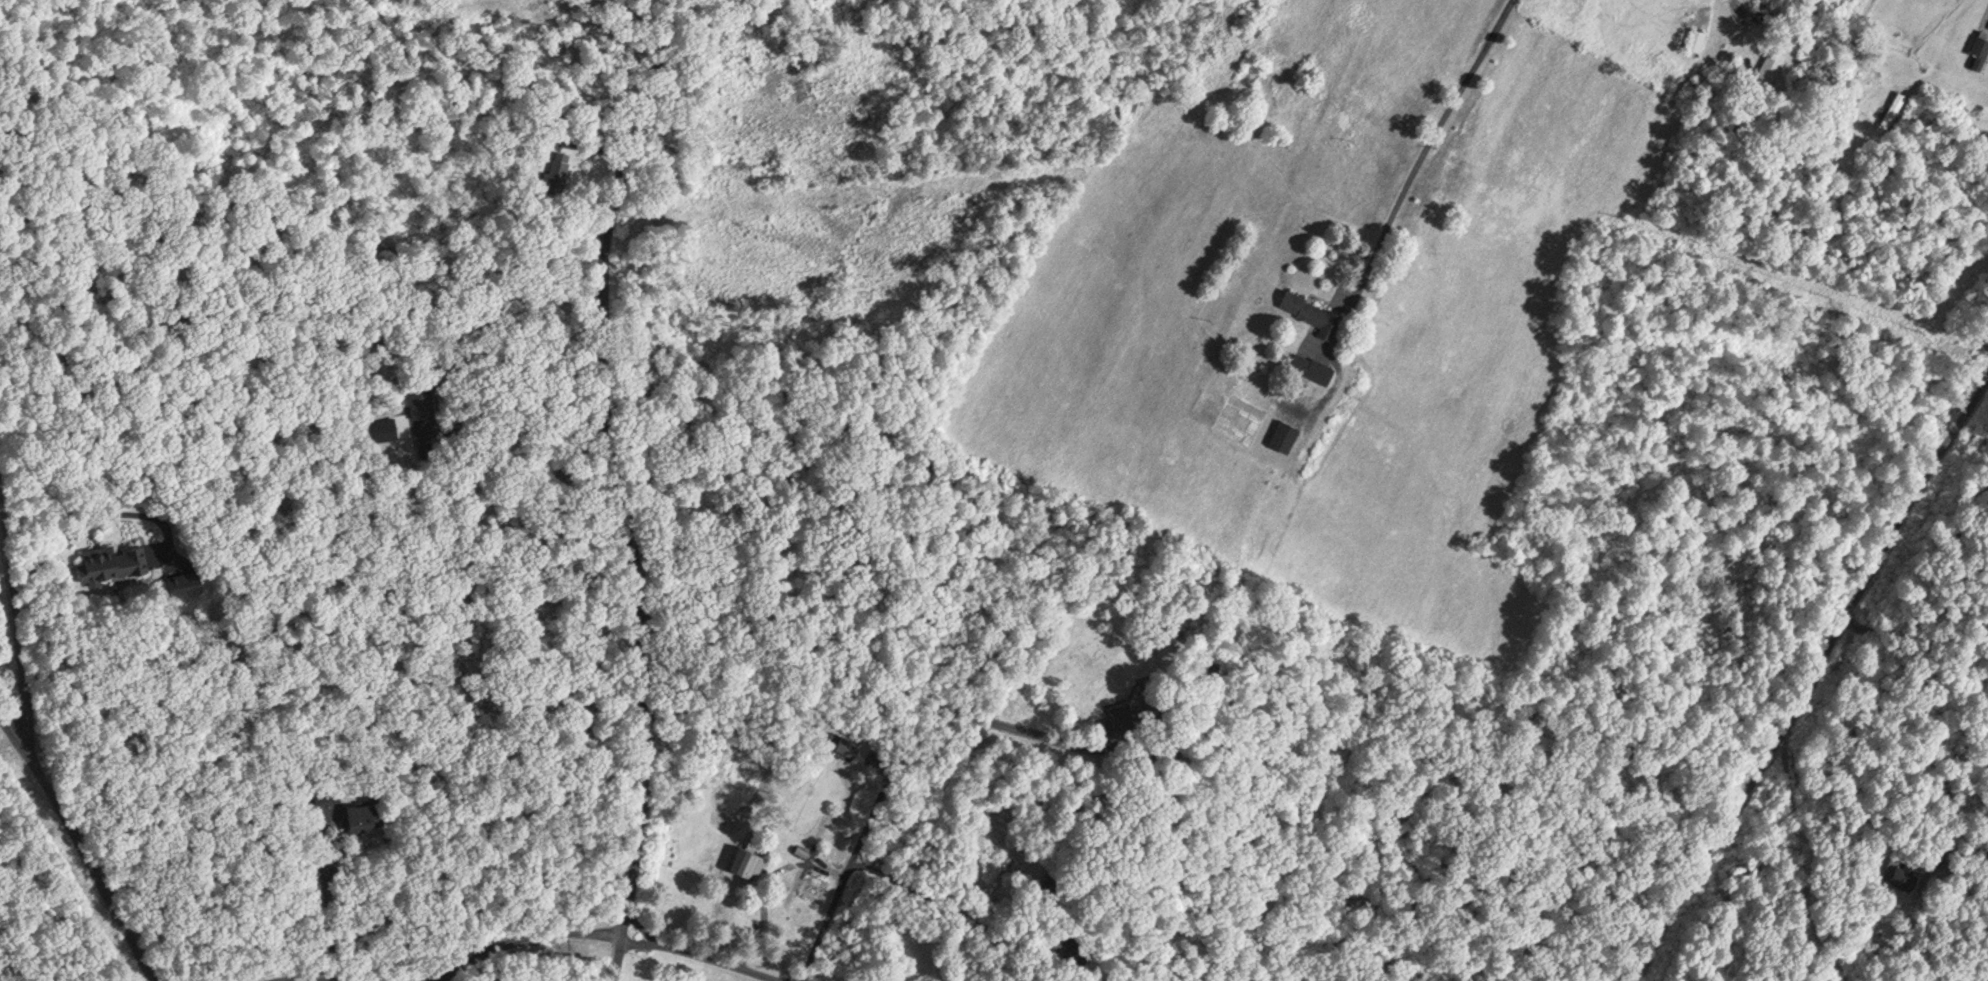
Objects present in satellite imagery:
building: (1695, 36)
building: (1979, 51)
building: (1770, 63)
building: (1675, 69)
building: (1891, 108)
building: (551, 132)
road: (1423, 138)
building: (556, 169)
building: (1311, 310)
building: (1311, 365)
building: (415, 395)
road: (622, 485)
road: (91, 517)
building: (114, 556)
road: (16, 628)
road: (1807, 677)
building: (845, 742)
road: (894, 756)
building: (360, 811)
road: (76, 846)
building: (1898, 869)
road: (935, 906)
road: (643, 926)
road: (514, 930)
road: (704, 952)

